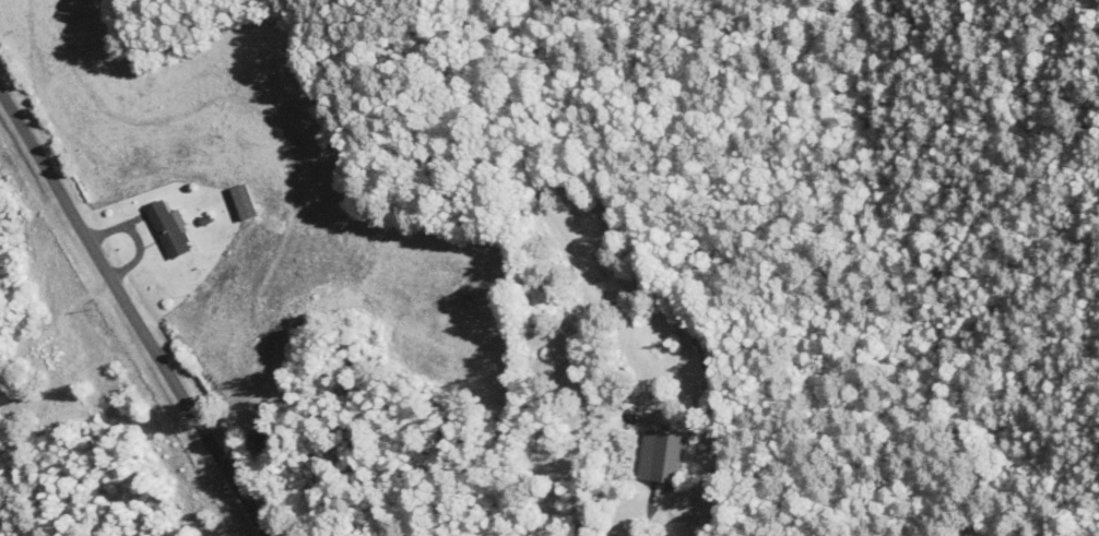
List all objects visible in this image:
building: (245, 201)
building: (170, 228)
road: (139, 326)
building: (263, 438)
building: (660, 455)

